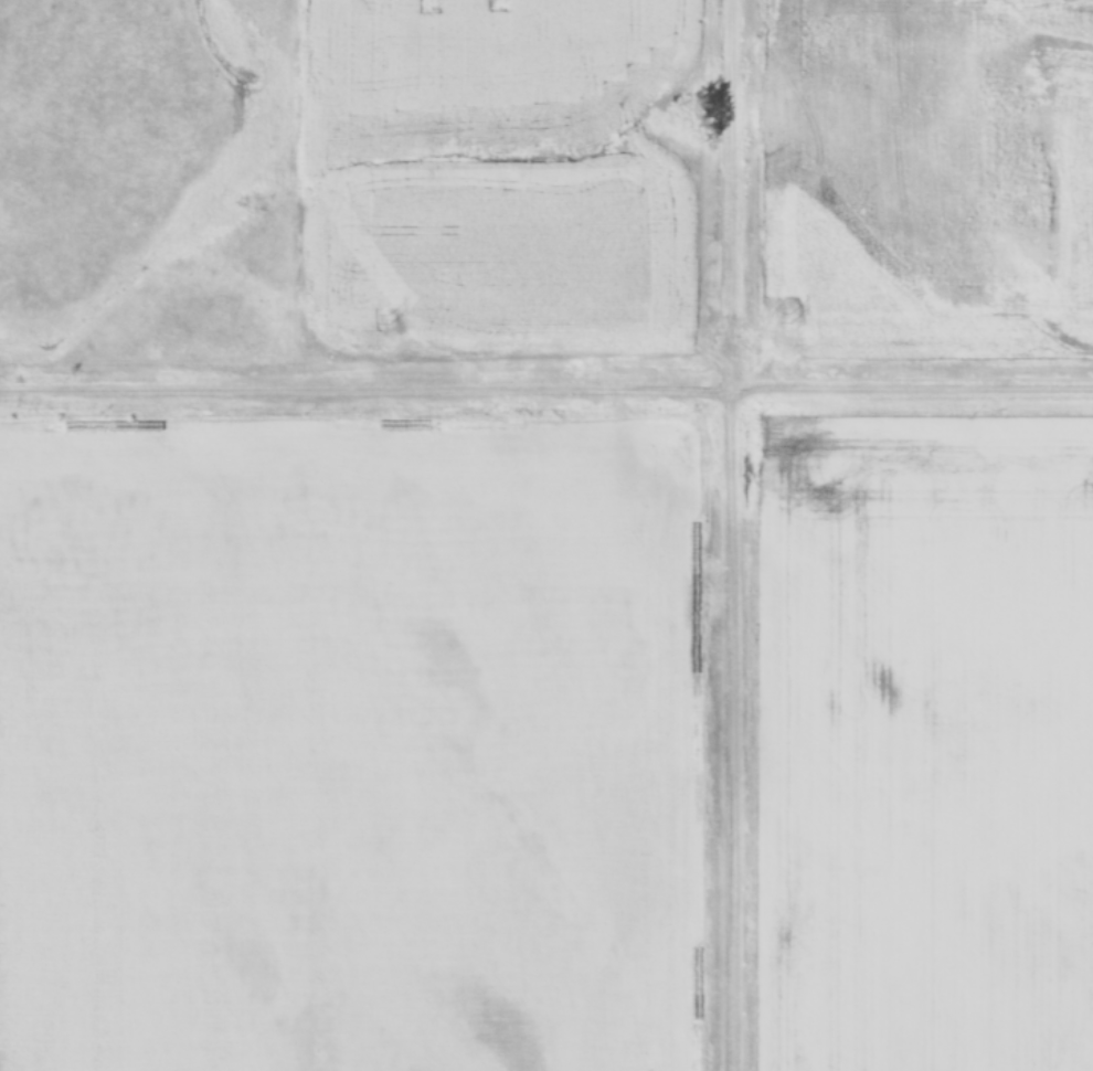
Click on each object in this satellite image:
road: (730, 197)
power tower: (794, 317)
power tower: (389, 319)
road: (545, 392)
road: (729, 732)

